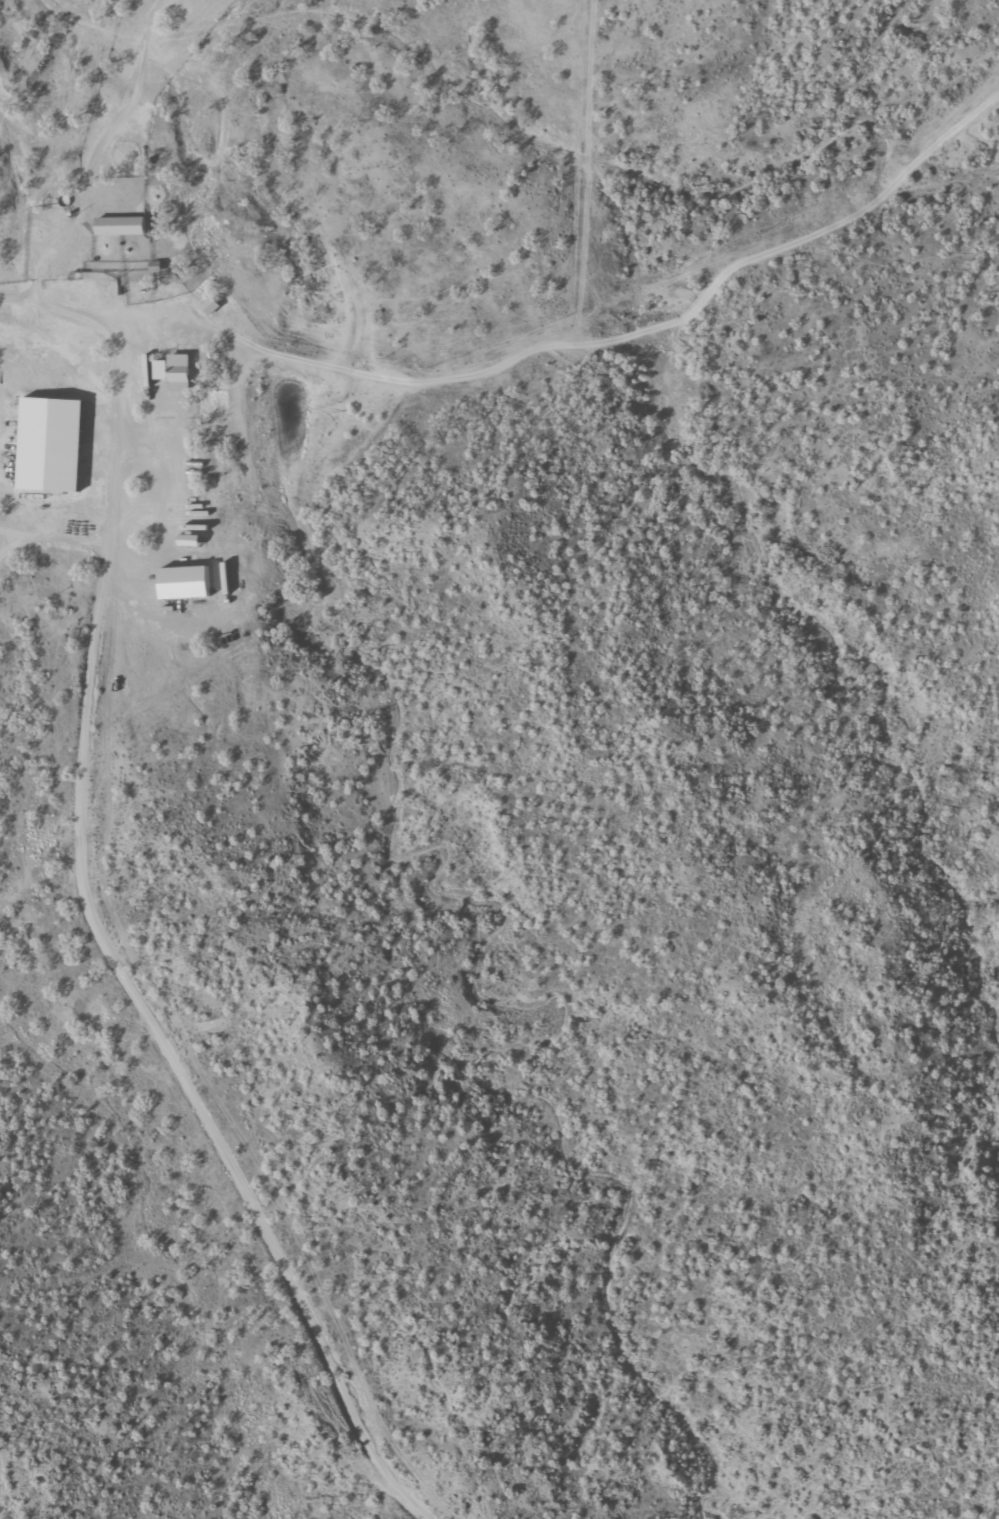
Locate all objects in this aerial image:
building: (124, 225)
building: (213, 305)
building: (162, 369)
building: (181, 371)
building: (53, 443)
building: (193, 540)
building: (189, 581)
road: (56, 809)

